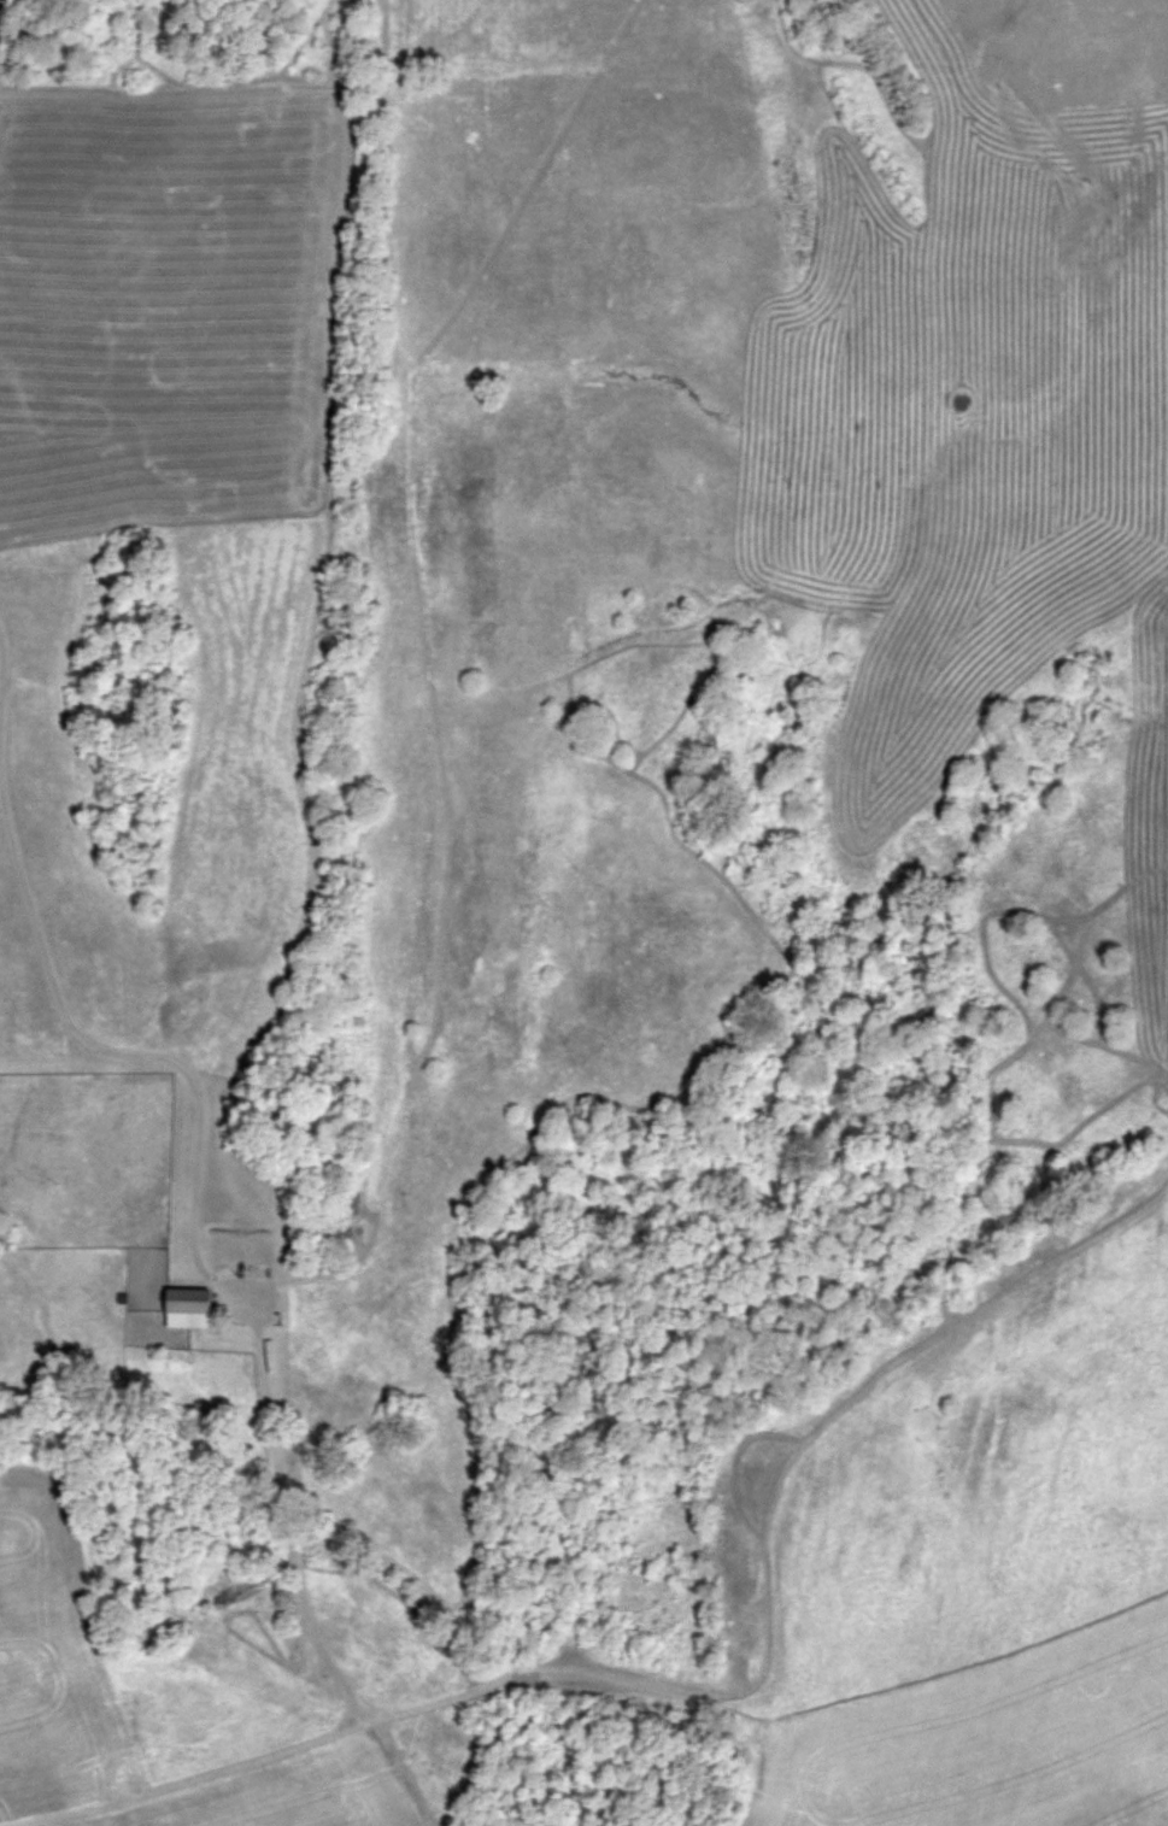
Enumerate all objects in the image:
building: (1096, 20)
road: (188, 1237)
building: (189, 1308)

